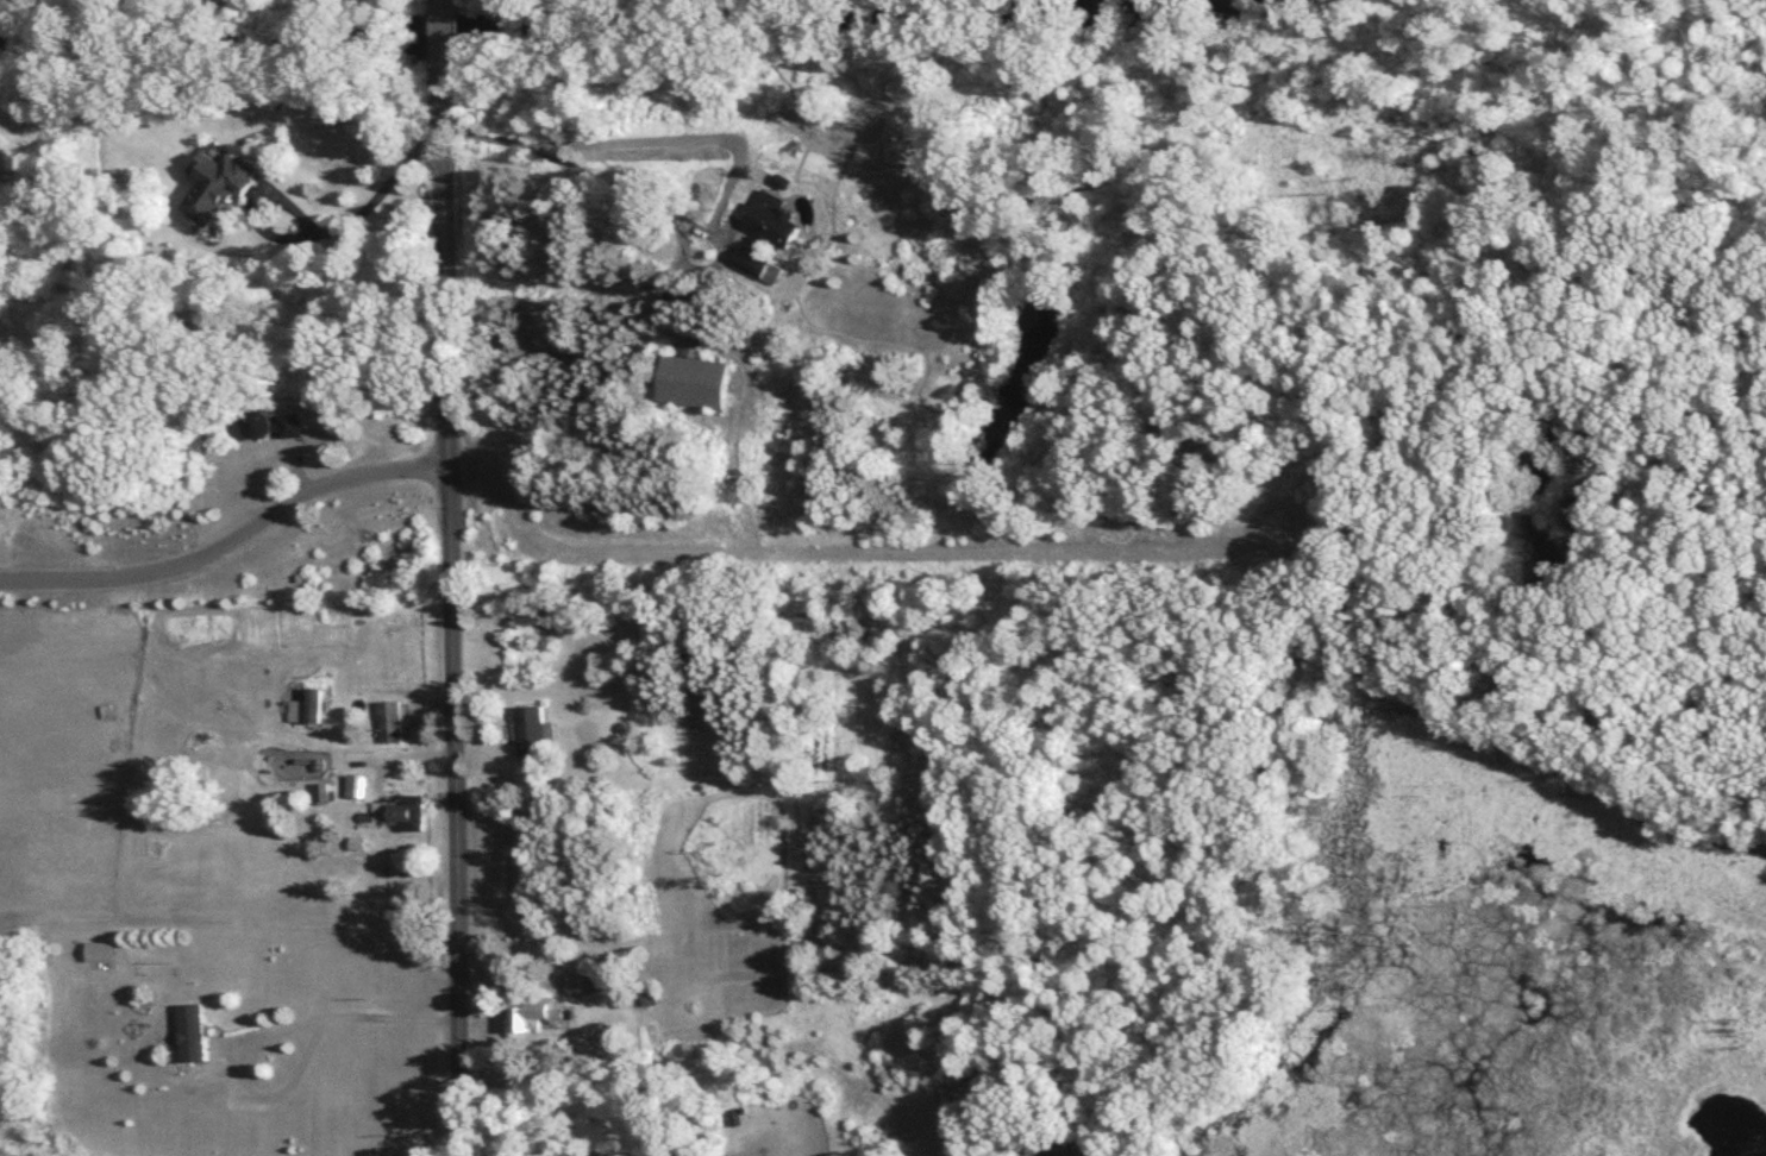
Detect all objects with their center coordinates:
river: (500, 24)
road: (444, 31)
road: (570, 165)
building: (220, 186)
road: (447, 221)
road: (315, 226)
building: (771, 238)
building: (696, 381)
building: (277, 427)
road: (232, 545)
building: (317, 708)
building: (392, 724)
building: (533, 734)
road: (455, 768)
building: (357, 789)
building: (405, 815)
building: (102, 954)
building: (601, 986)
building: (649, 1003)
road: (389, 1012)
building: (538, 1016)
building: (193, 1036)
road: (236, 1078)
building: (1048, 1146)
road: (575, 1154)

